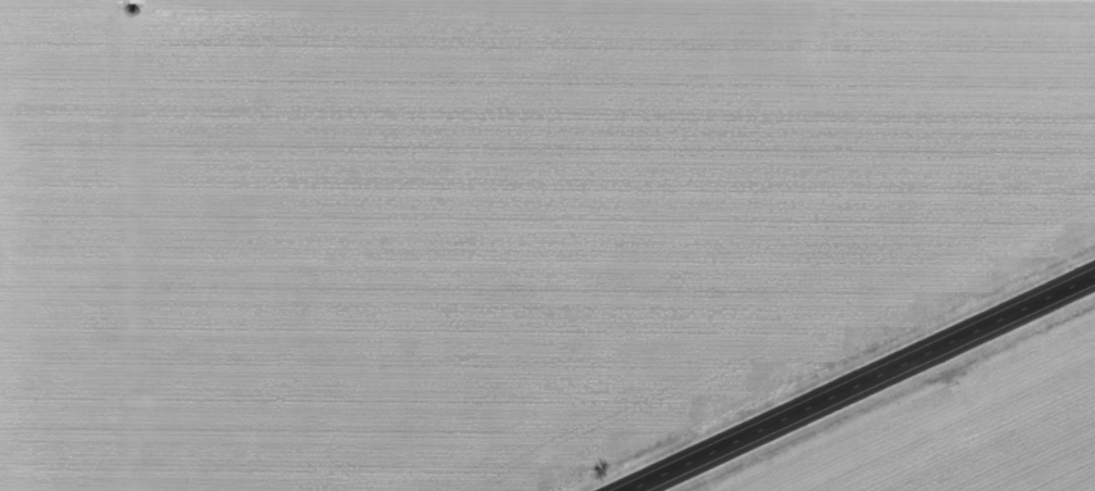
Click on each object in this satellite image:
road: (880, 391)

